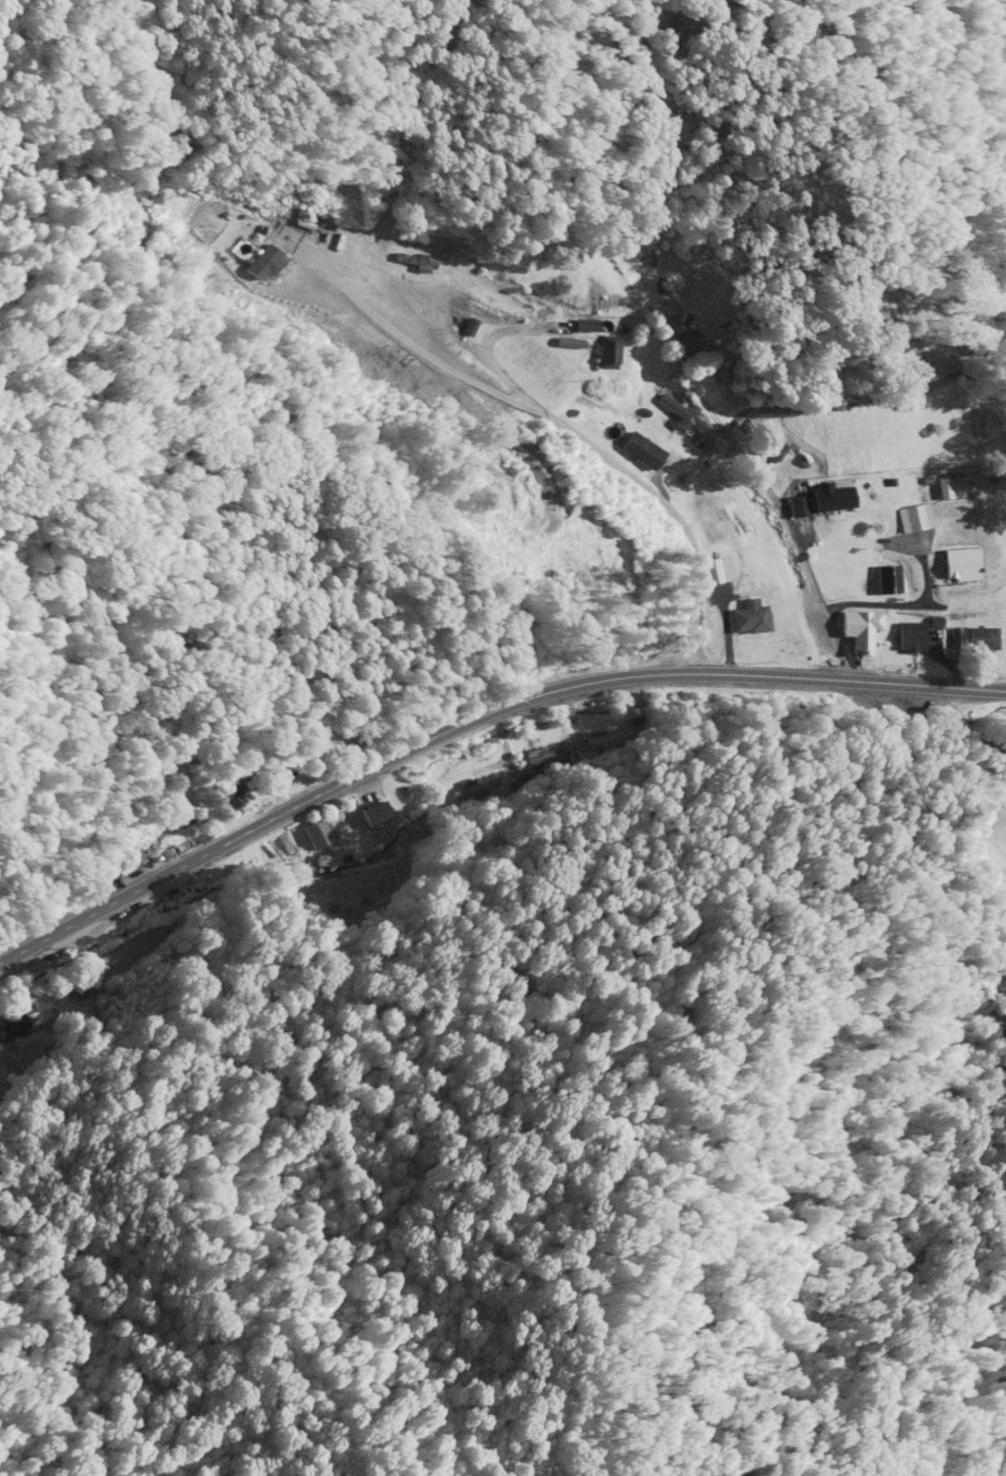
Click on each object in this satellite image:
road: (622, 470)
road: (770, 500)
building: (820, 502)
building: (912, 520)
building: (715, 572)
building: (746, 621)
building: (856, 631)
building: (907, 639)
building: (971, 639)
road: (475, 720)
building: (487, 787)
building: (314, 836)

